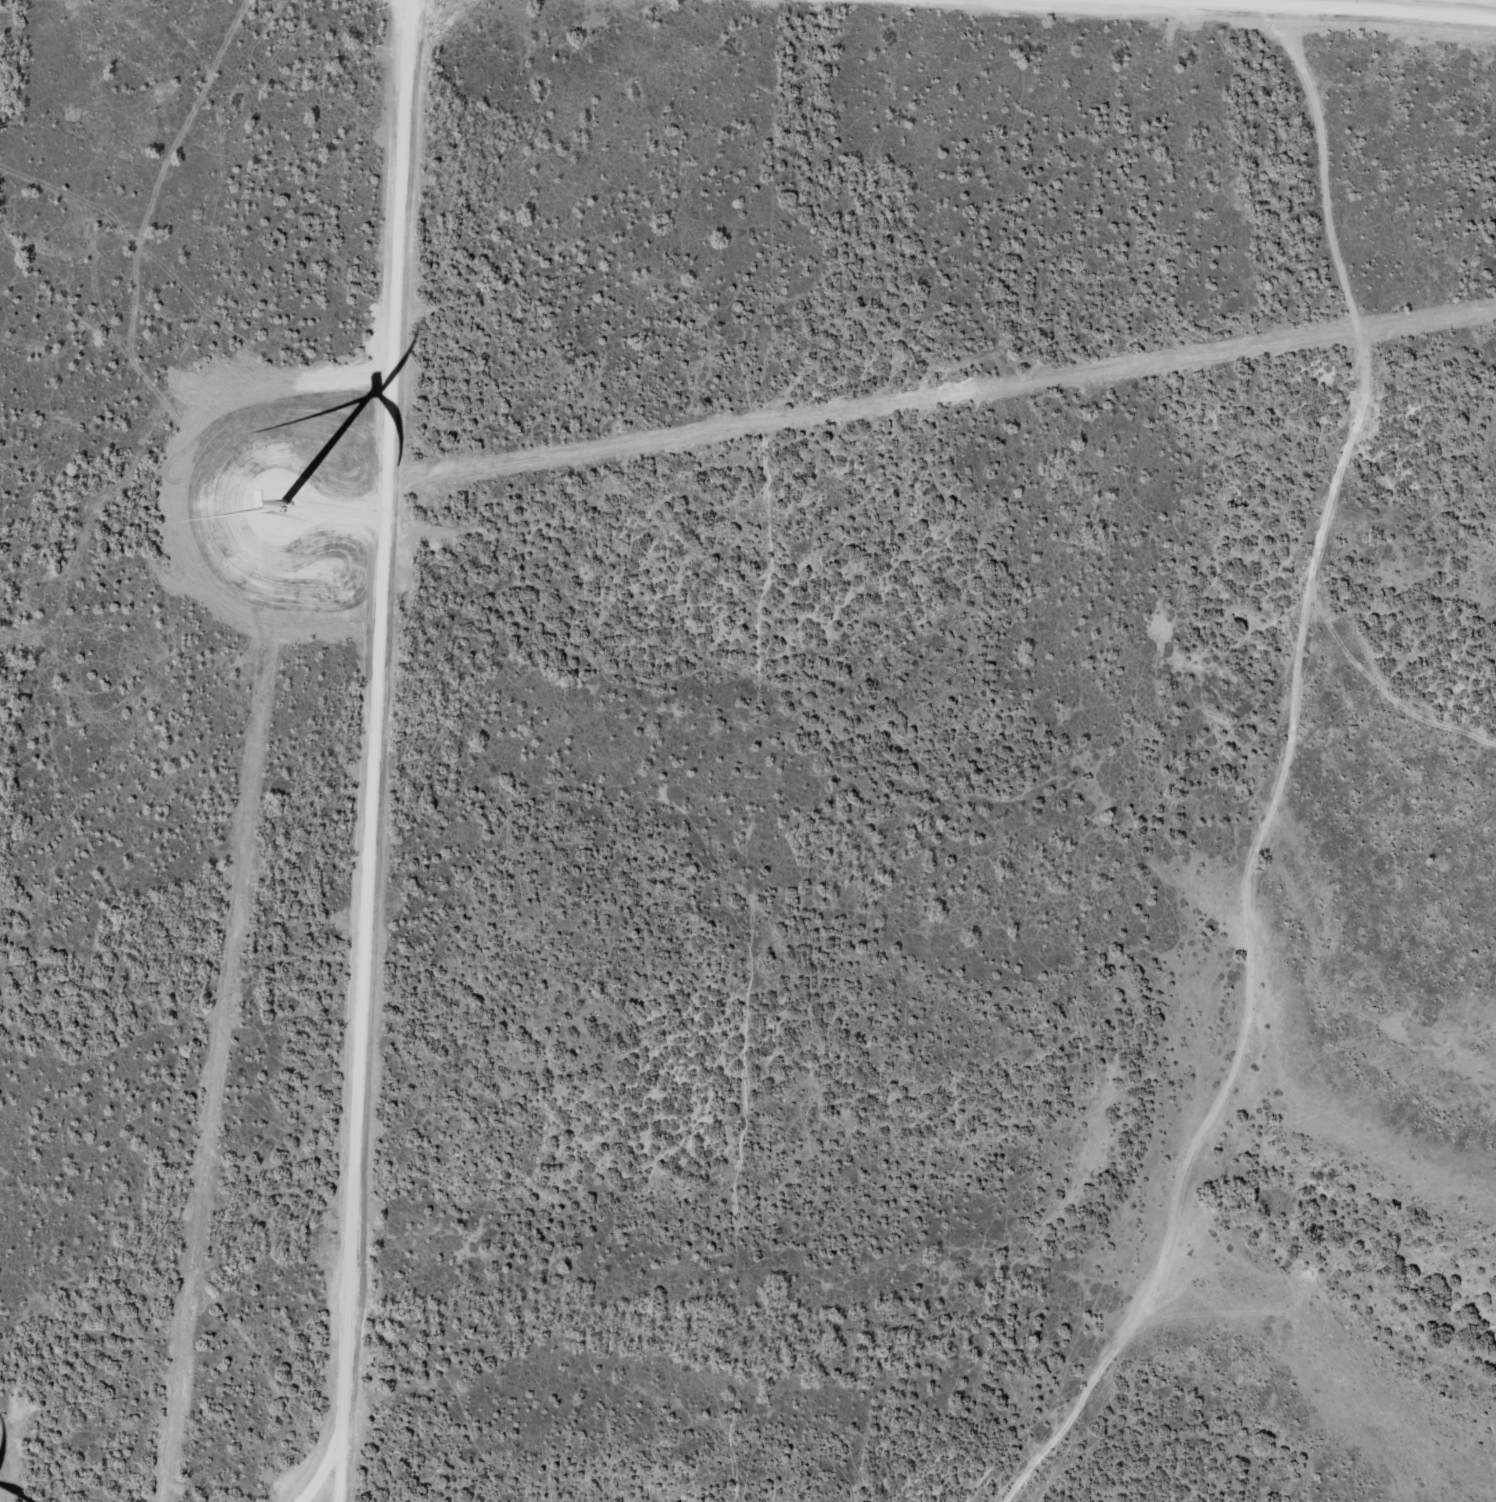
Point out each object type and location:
road: (1469, 1)
wind turbine: (282, 494)
road: (1311, 777)

